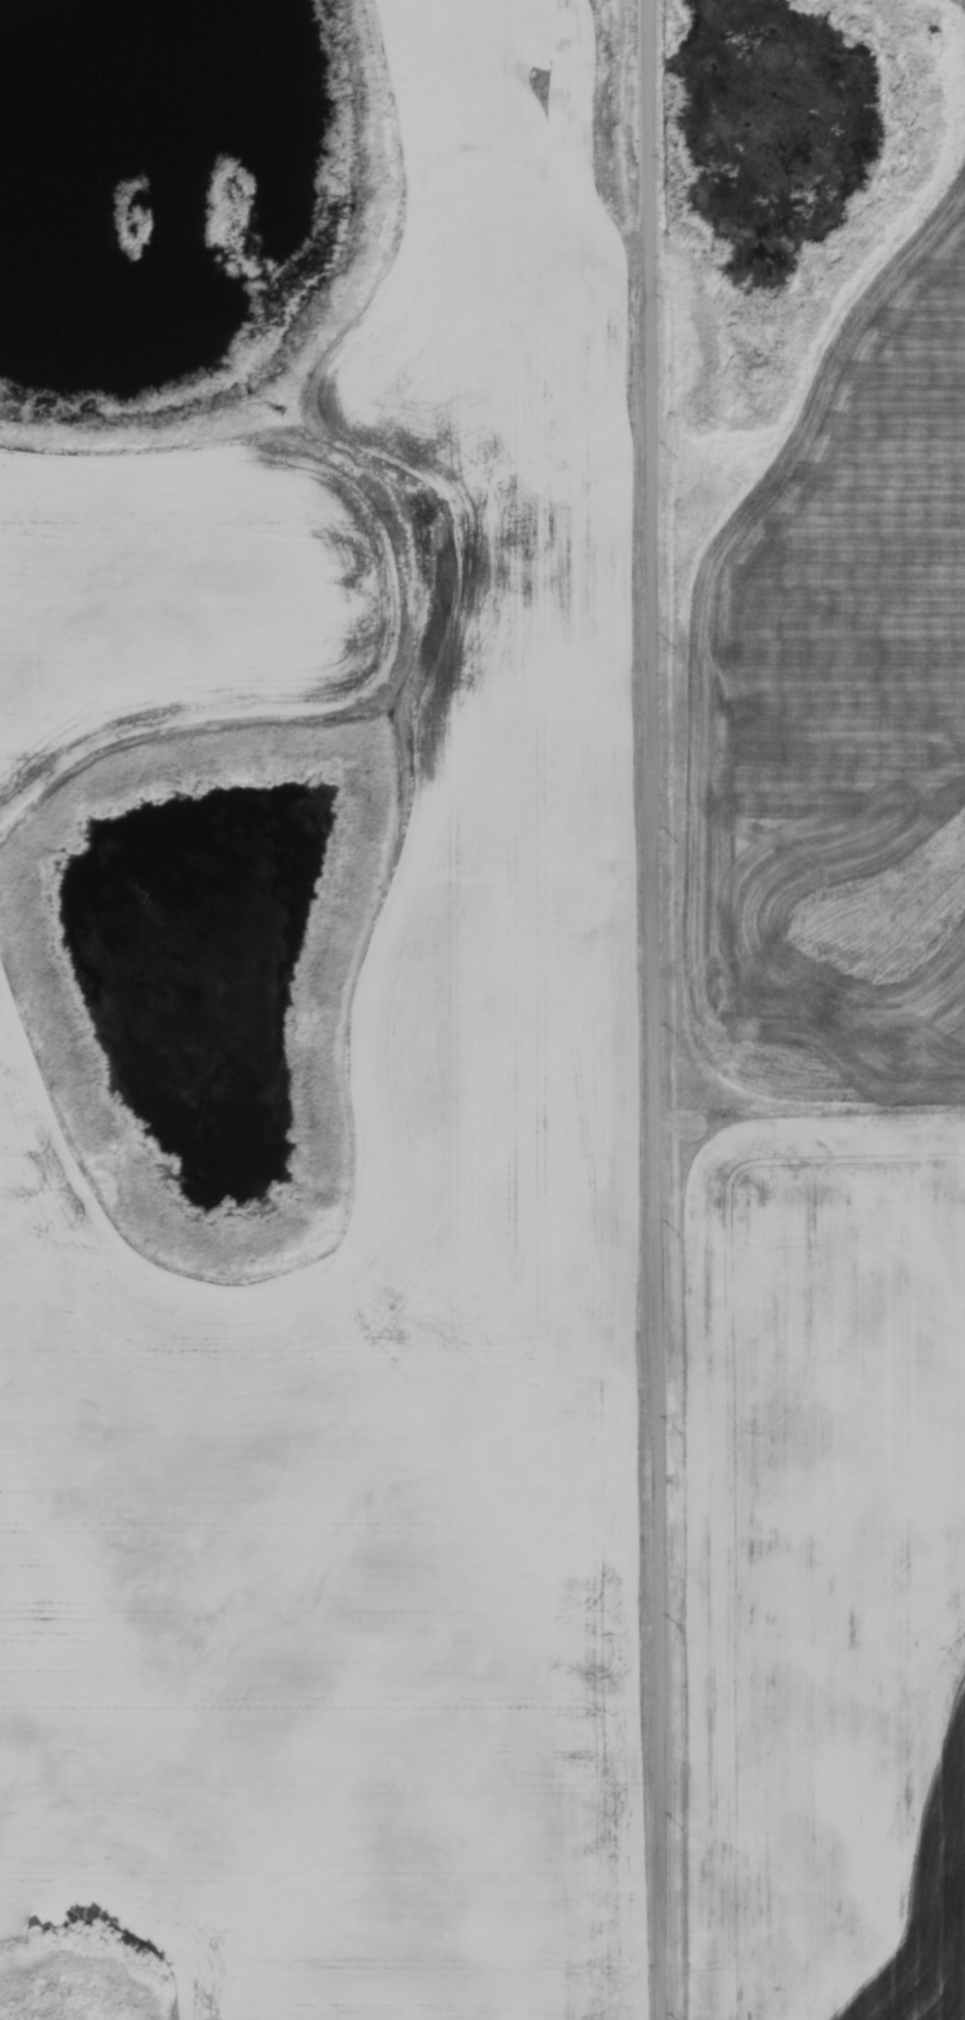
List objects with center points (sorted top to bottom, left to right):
road: (654, 1010)

